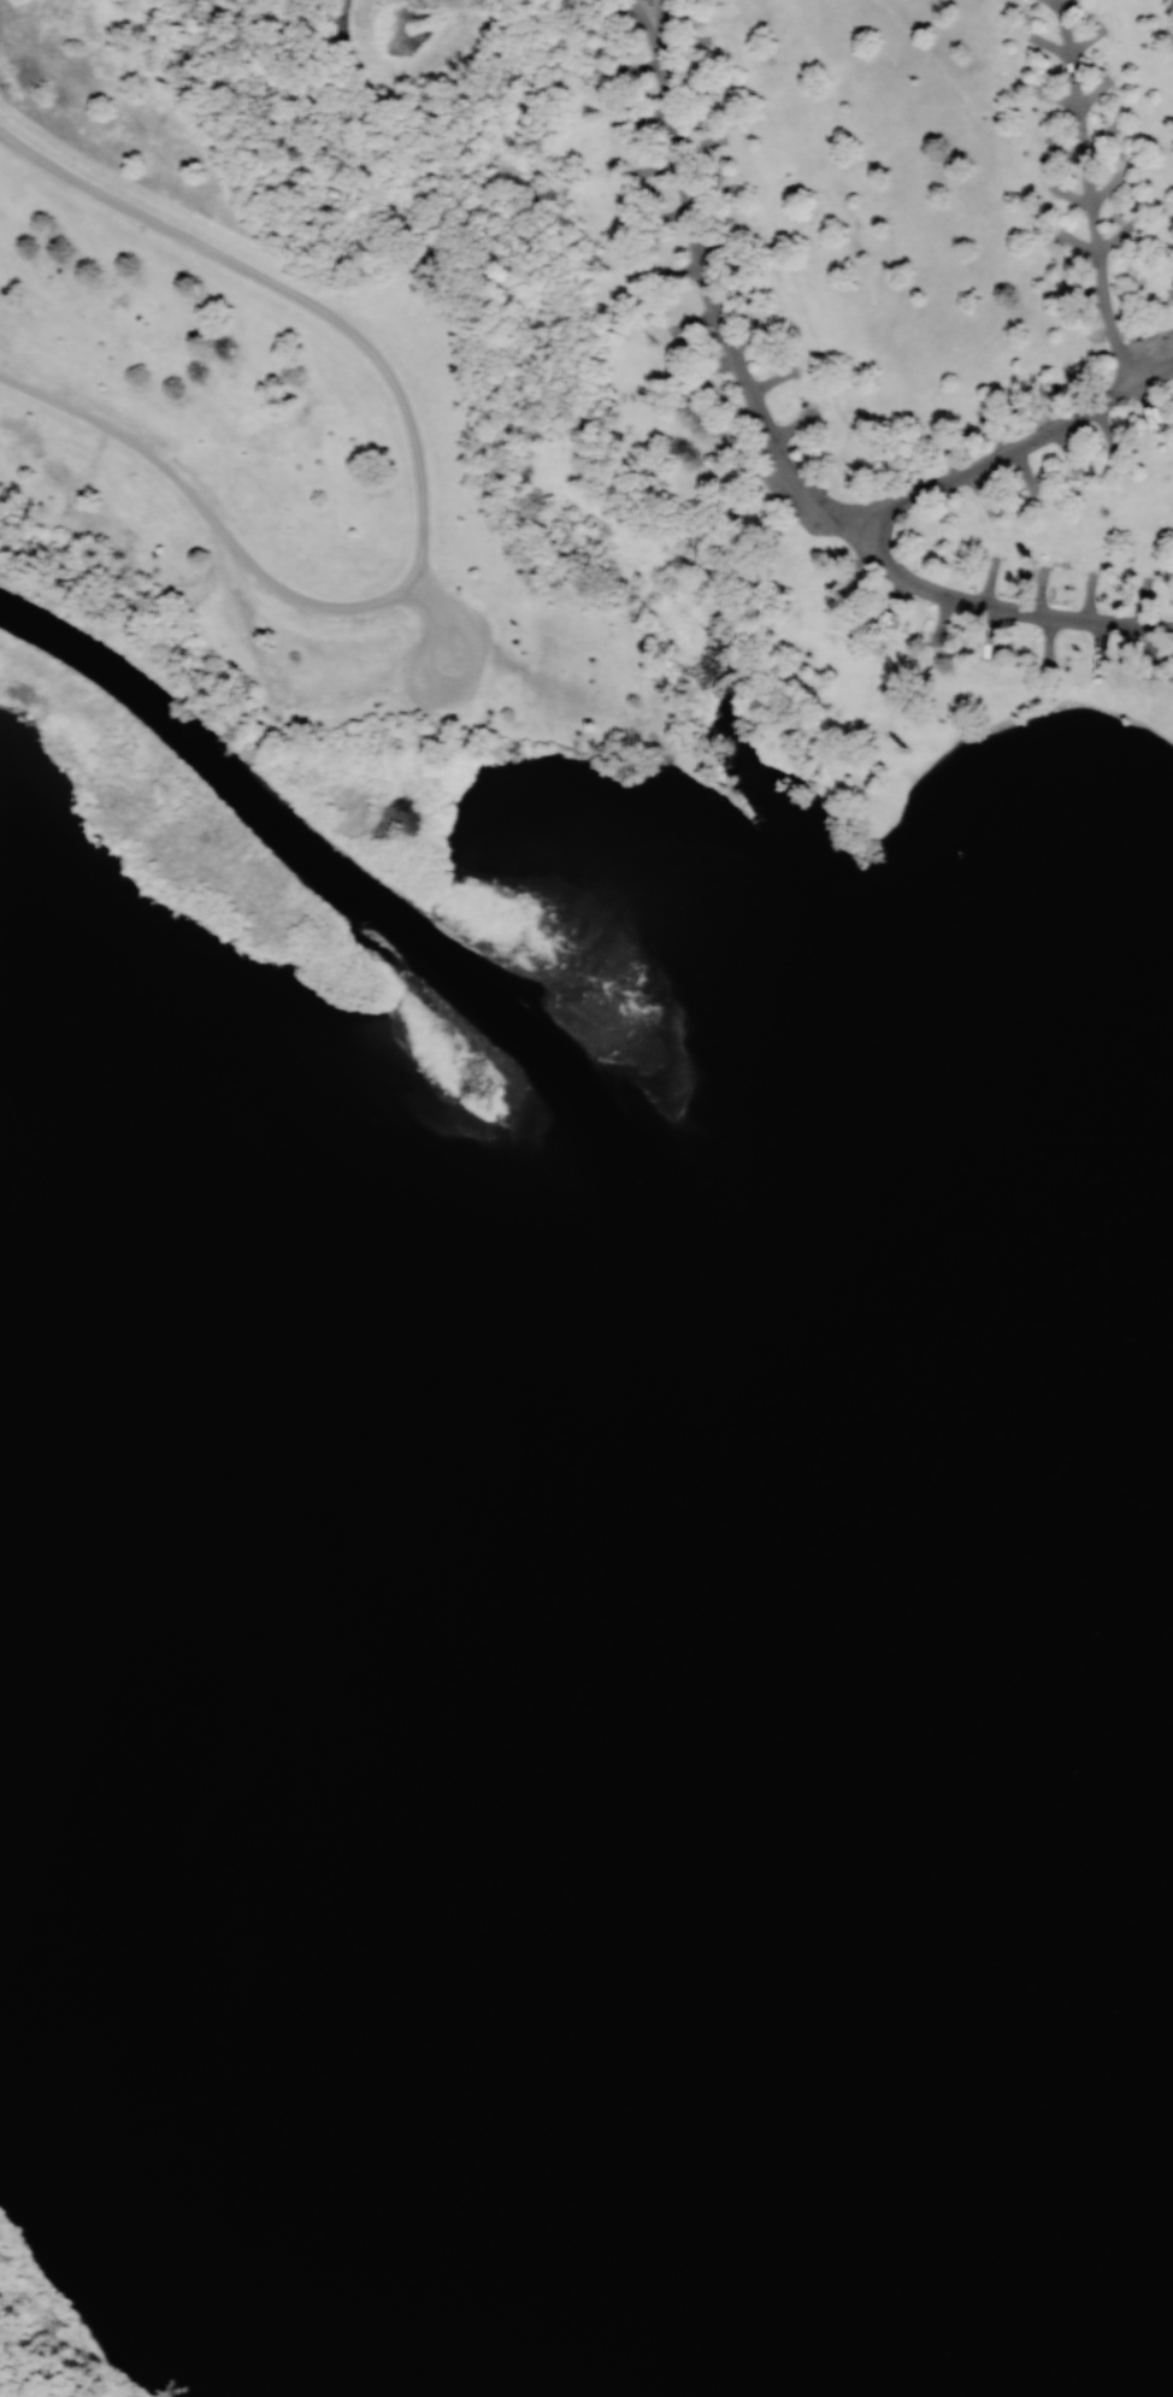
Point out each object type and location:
road: (642, 14)
road: (654, 14)
road: (1091, 196)
road: (832, 260)
road: (784, 457)
road: (422, 496)
road: (1018, 526)
road: (423, 590)
road: (1001, 606)
parking lot: (444, 656)
river: (211, 747)
river: (678, 1437)
park: (1006, 1657)
park: (45, 2339)
park: (189, 2396)

